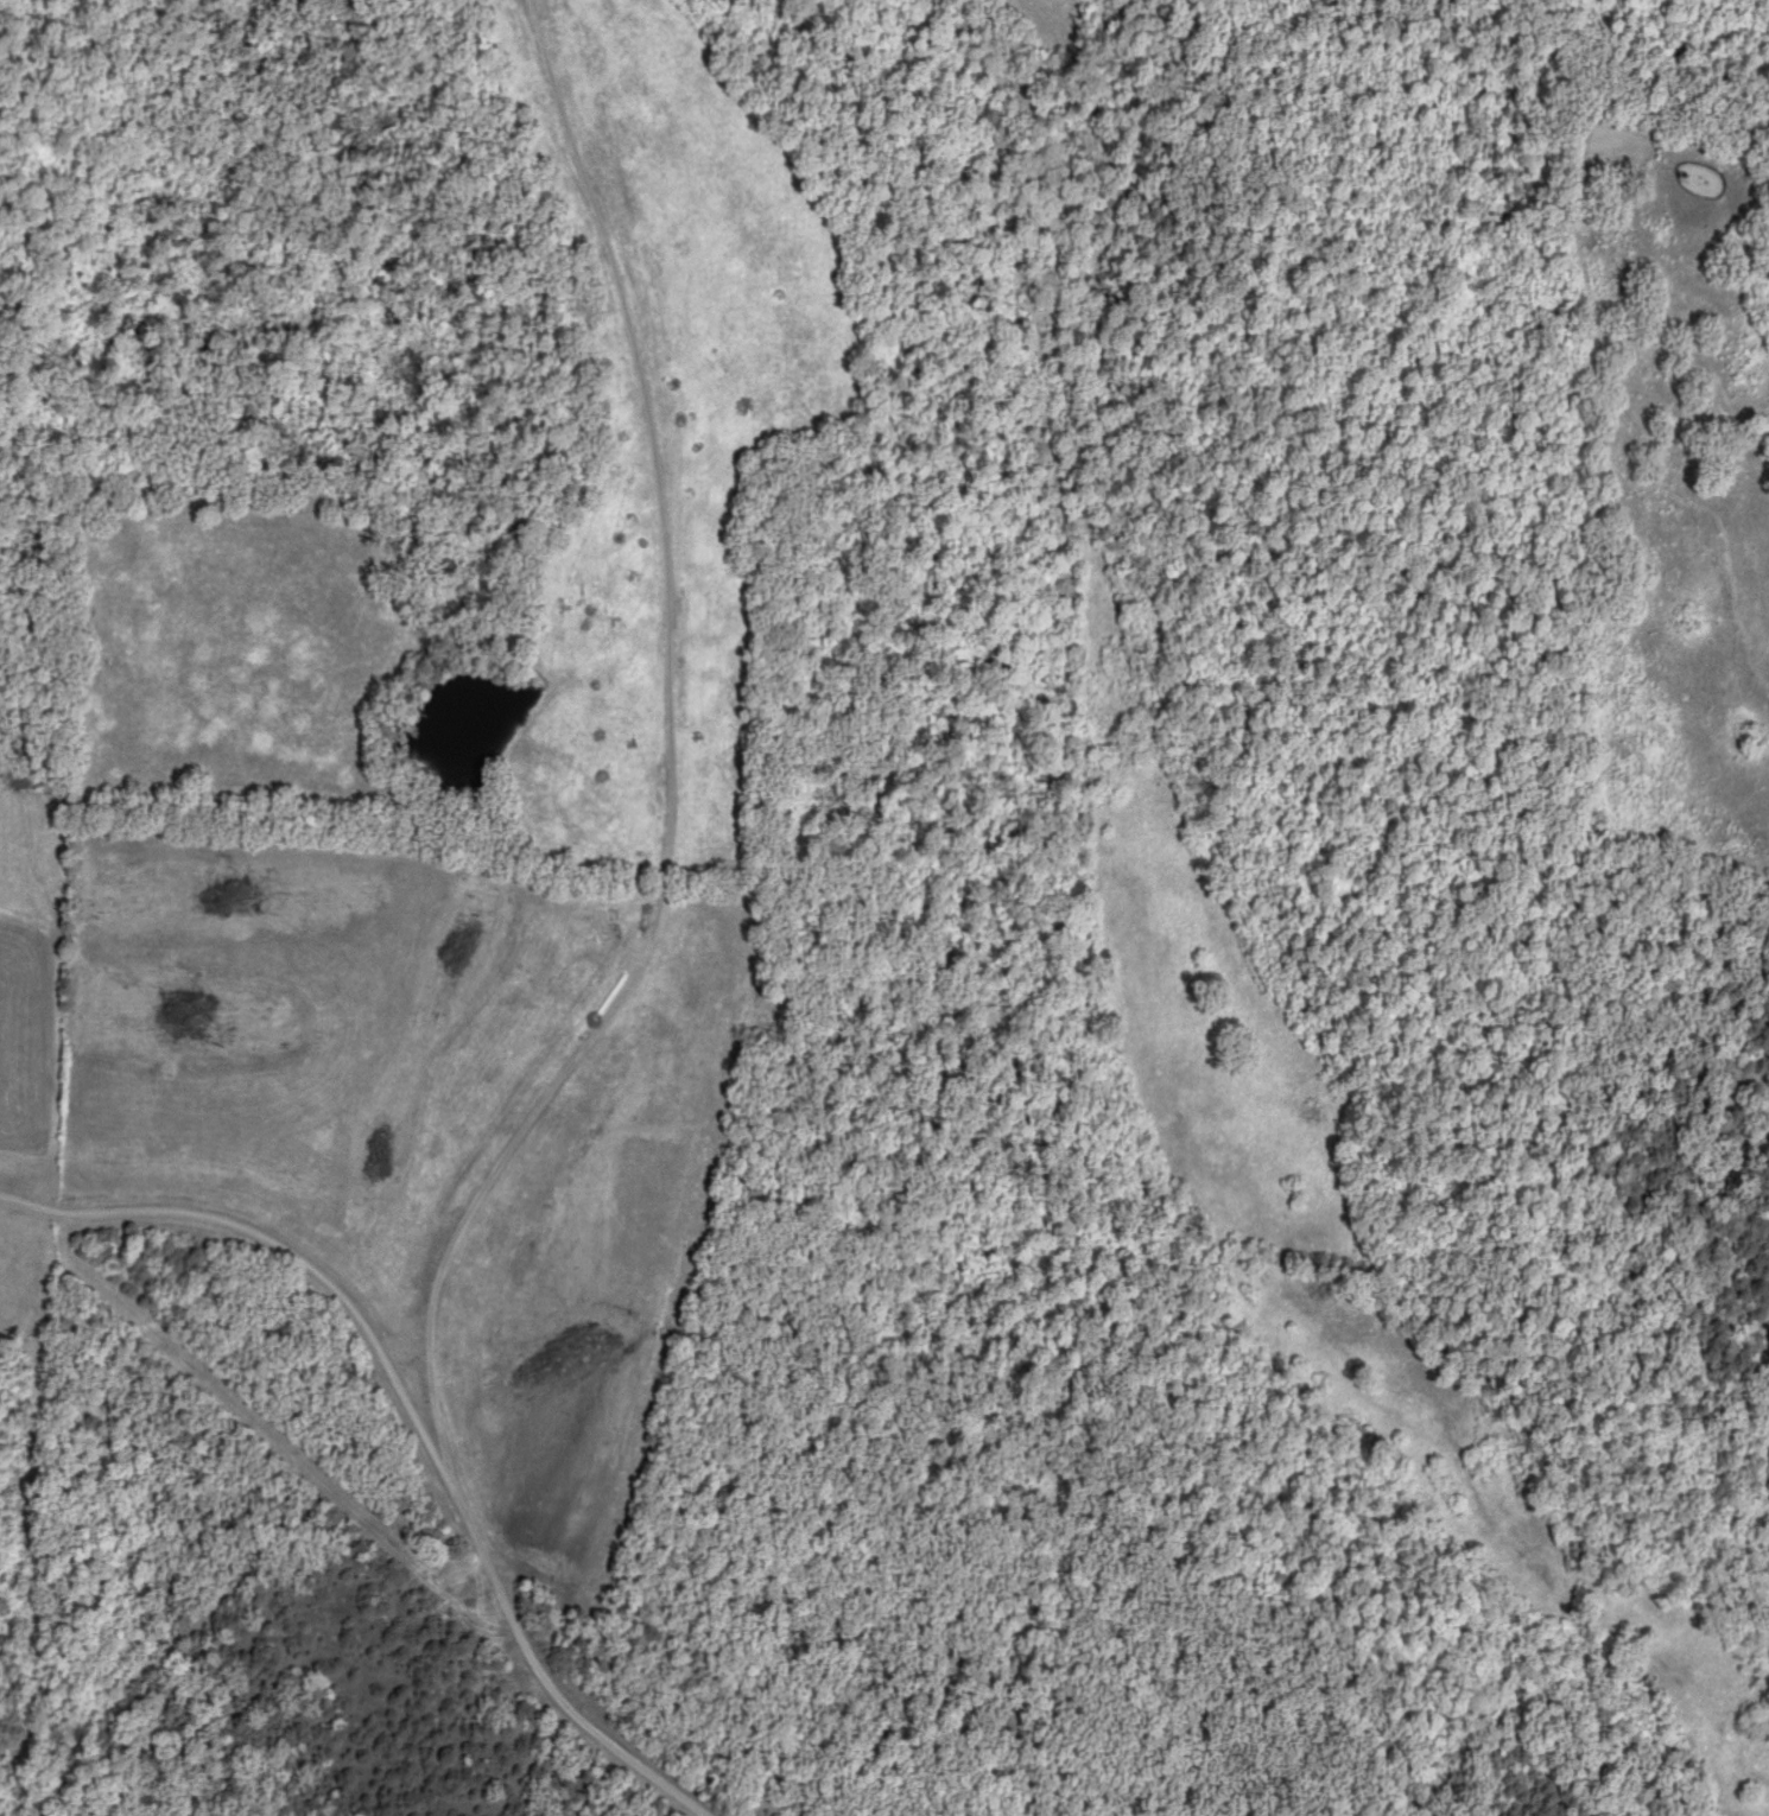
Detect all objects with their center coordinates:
road: (616, 948)
road: (273, 1250)

